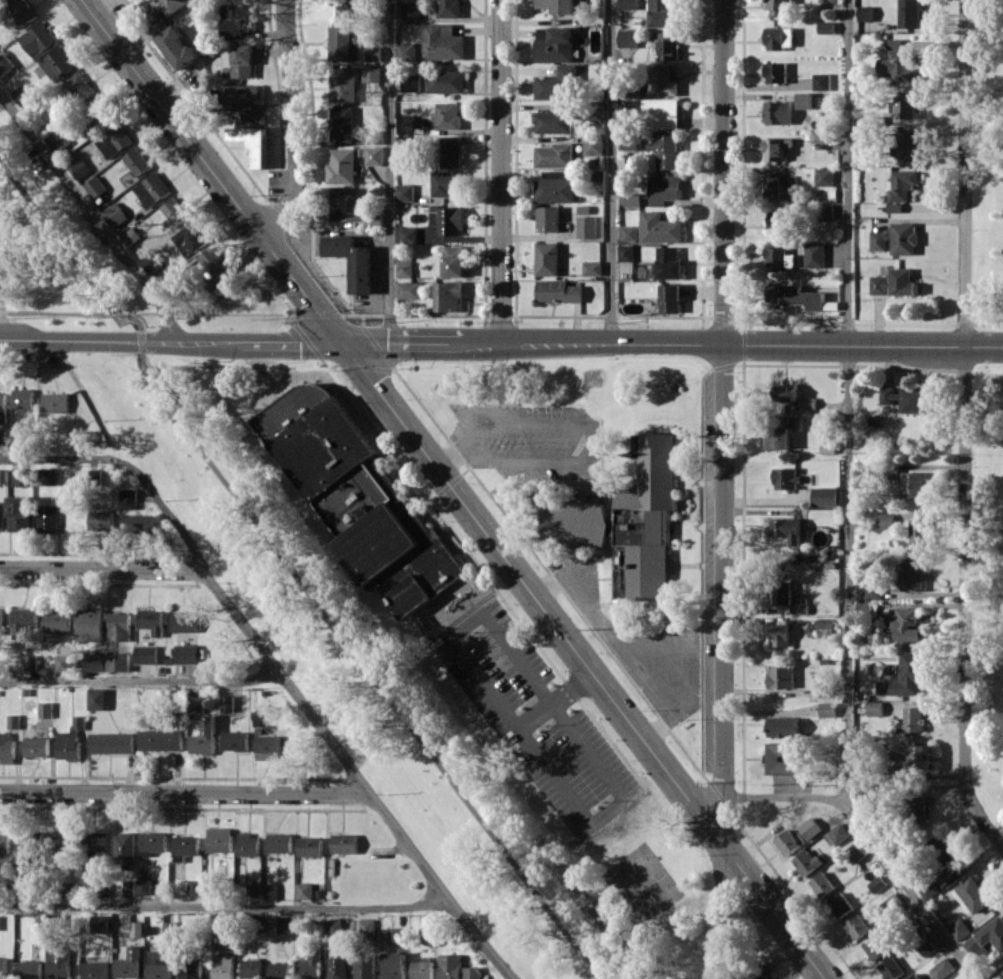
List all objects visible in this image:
building: (831, 0)
building: (629, 4)
building: (558, 5)
building: (170, 6)
building: (778, 7)
building: (349, 8)
building: (449, 8)
building: (410, 10)
building: (22, 11)
building: (866, 12)
building: (663, 13)
building: (910, 13)
building: (235, 20)
building: (826, 27)
building: (780, 37)
building: (628, 38)
building: (38, 40)
building: (341, 42)
building: (443, 42)
building: (555, 44)
building: (669, 45)
building: (177, 47)
building: (406, 50)
building: (374, 53)
building: (239, 59)
building: (5, 63)
building: (57, 63)
building: (900, 63)
building: (776, 72)
building: (371, 74)
building: (446, 81)
building: (662, 81)
building: (821, 81)
building: (343, 83)
building: (411, 83)
building: (558, 84)
building: (79, 86)
building: (22, 95)
building: (243, 99)
building: (803, 100)
building: (907, 104)
building: (96, 111)
building: (662, 112)
building: (778, 112)
building: (448, 115)
building: (553, 122)
road: (295, 123)
building: (342, 123)
building: (405, 123)
building: (819, 136)
building: (58, 139)
building: (113, 140)
building: (628, 140)
building: (252, 142)
building: (405, 143)
building: (909, 143)
building: (593, 144)
building: (777, 147)
building: (666, 150)
building: (450, 151)
building: (374, 155)
building: (555, 155)
building: (136, 161)
building: (76, 164)
building: (342, 165)
road: (211, 170)
road: (388, 171)
road: (501, 171)
road: (611, 172)
road: (964, 173)
building: (824, 176)
building: (446, 182)
building: (775, 184)
building: (902, 184)
building: (94, 186)
building: (556, 186)
building: (664, 188)
building: (151, 189)
building: (404, 192)
building: (630, 199)
building: (347, 205)
building: (895, 206)
building: (826, 211)
building: (172, 212)
building: (113, 214)
road: (94, 217)
building: (548, 218)
building: (449, 220)
building: (779, 222)
building: (587, 226)
building: (660, 227)
building: (629, 232)
building: (406, 235)
building: (129, 236)
building: (189, 238)
building: (896, 238)
building: (626, 252)
building: (815, 254)
building: (778, 257)
building: (547, 258)
building: (352, 260)
building: (454, 261)
building: (669, 263)
building: (212, 266)
building: (592, 268)
building: (404, 269)
building: (895, 282)
building: (408, 289)
building: (558, 291)
building: (449, 296)
building: (796, 296)
building: (671, 298)
road: (170, 340)
traffic signals: (341, 342)
road: (652, 344)
road: (984, 346)
building: (786, 392)
building: (909, 397)
building: (23, 398)
road: (849, 400)
building: (55, 402)
building: (808, 402)
park: (987, 404)
building: (3, 406)
building: (779, 437)
road: (578, 443)
building: (828, 446)
road: (452, 455)
road: (126, 466)
building: (0, 476)
building: (49, 476)
building: (22, 477)
building: (787, 477)
building: (913, 484)
road: (724, 489)
building: (825, 496)
building: (127, 498)
building: (358, 499)
building: (20, 513)
building: (2, 514)
building: (648, 517)
building: (47, 518)
building: (100, 520)
building: (886, 520)
building: (138, 523)
building: (574, 523)
building: (786, 528)
building: (920, 530)
road: (102, 568)
road: (291, 570)
building: (913, 573)
building: (874, 586)
building: (783, 591)
road: (966, 599)
building: (801, 608)
building: (1, 620)
building: (57, 620)
building: (151, 620)
building: (23, 621)
building: (184, 622)
building: (907, 623)
building: (90, 624)
building: (119, 625)
building: (825, 626)
building: (780, 634)
road: (620, 636)
building: (186, 653)
building: (146, 654)
road: (583, 660)
building: (94, 661)
building: (118, 661)
building: (30, 662)
building: (63, 662)
building: (146, 668)
building: (905, 676)
building: (782, 677)
road: (141, 682)
road: (482, 684)
building: (97, 699)
building: (227, 703)
building: (195, 704)
building: (875, 708)
building: (45, 709)
building: (827, 709)
building: (912, 719)
building: (13, 721)
building: (78, 721)
building: (784, 726)
building: (204, 737)
building: (160, 740)
building: (235, 740)
building: (110, 742)
building: (67, 745)
building: (36, 746)
building: (6, 747)
building: (267, 747)
building: (782, 758)
building: (922, 758)
road: (360, 773)
road: (187, 791)
building: (865, 791)
road: (782, 797)
building: (919, 806)
road: (606, 809)
building: (810, 828)
building: (839, 833)
building: (219, 839)
building: (96, 841)
building: (153, 841)
building: (279, 842)
building: (787, 842)
building: (63, 843)
building: (344, 843)
building: (4, 844)
building: (247, 844)
building: (309, 846)
building: (185, 847)
building: (125, 848)
building: (942, 851)
building: (856, 852)
building: (22, 857)
building: (806, 861)
building: (822, 884)
building: (877, 884)
building: (144, 886)
building: (194, 887)
building: (208, 887)
building: (129, 888)
building: (253, 888)
road: (908, 888)
building: (303, 890)
building: (270, 891)
building: (973, 893)
building: (893, 903)
building: (840, 904)
road: (227, 905)
building: (100, 923)
building: (285, 924)
building: (334, 926)
building: (857, 926)
building: (366, 927)
building: (136, 928)
building: (169, 928)
building: (959, 928)
building: (392, 935)
building: (426, 935)
building: (986, 937)
building: (875, 946)
building: (59, 962)
building: (129, 962)
building: (159, 964)
building: (393, 965)
building: (3, 966)
building: (223, 966)
building: (309, 966)
building: (365, 966)
building: (450, 966)
building: (337, 967)
building: (251, 968)
building: (422, 968)
building: (891, 968)
building: (942, 968)
building: (191, 969)
building: (28, 970)
building: (95, 970)
building: (279, 970)
building: (472, 972)
building: (764, 976)
building: (915, 976)
building: (967, 978)

